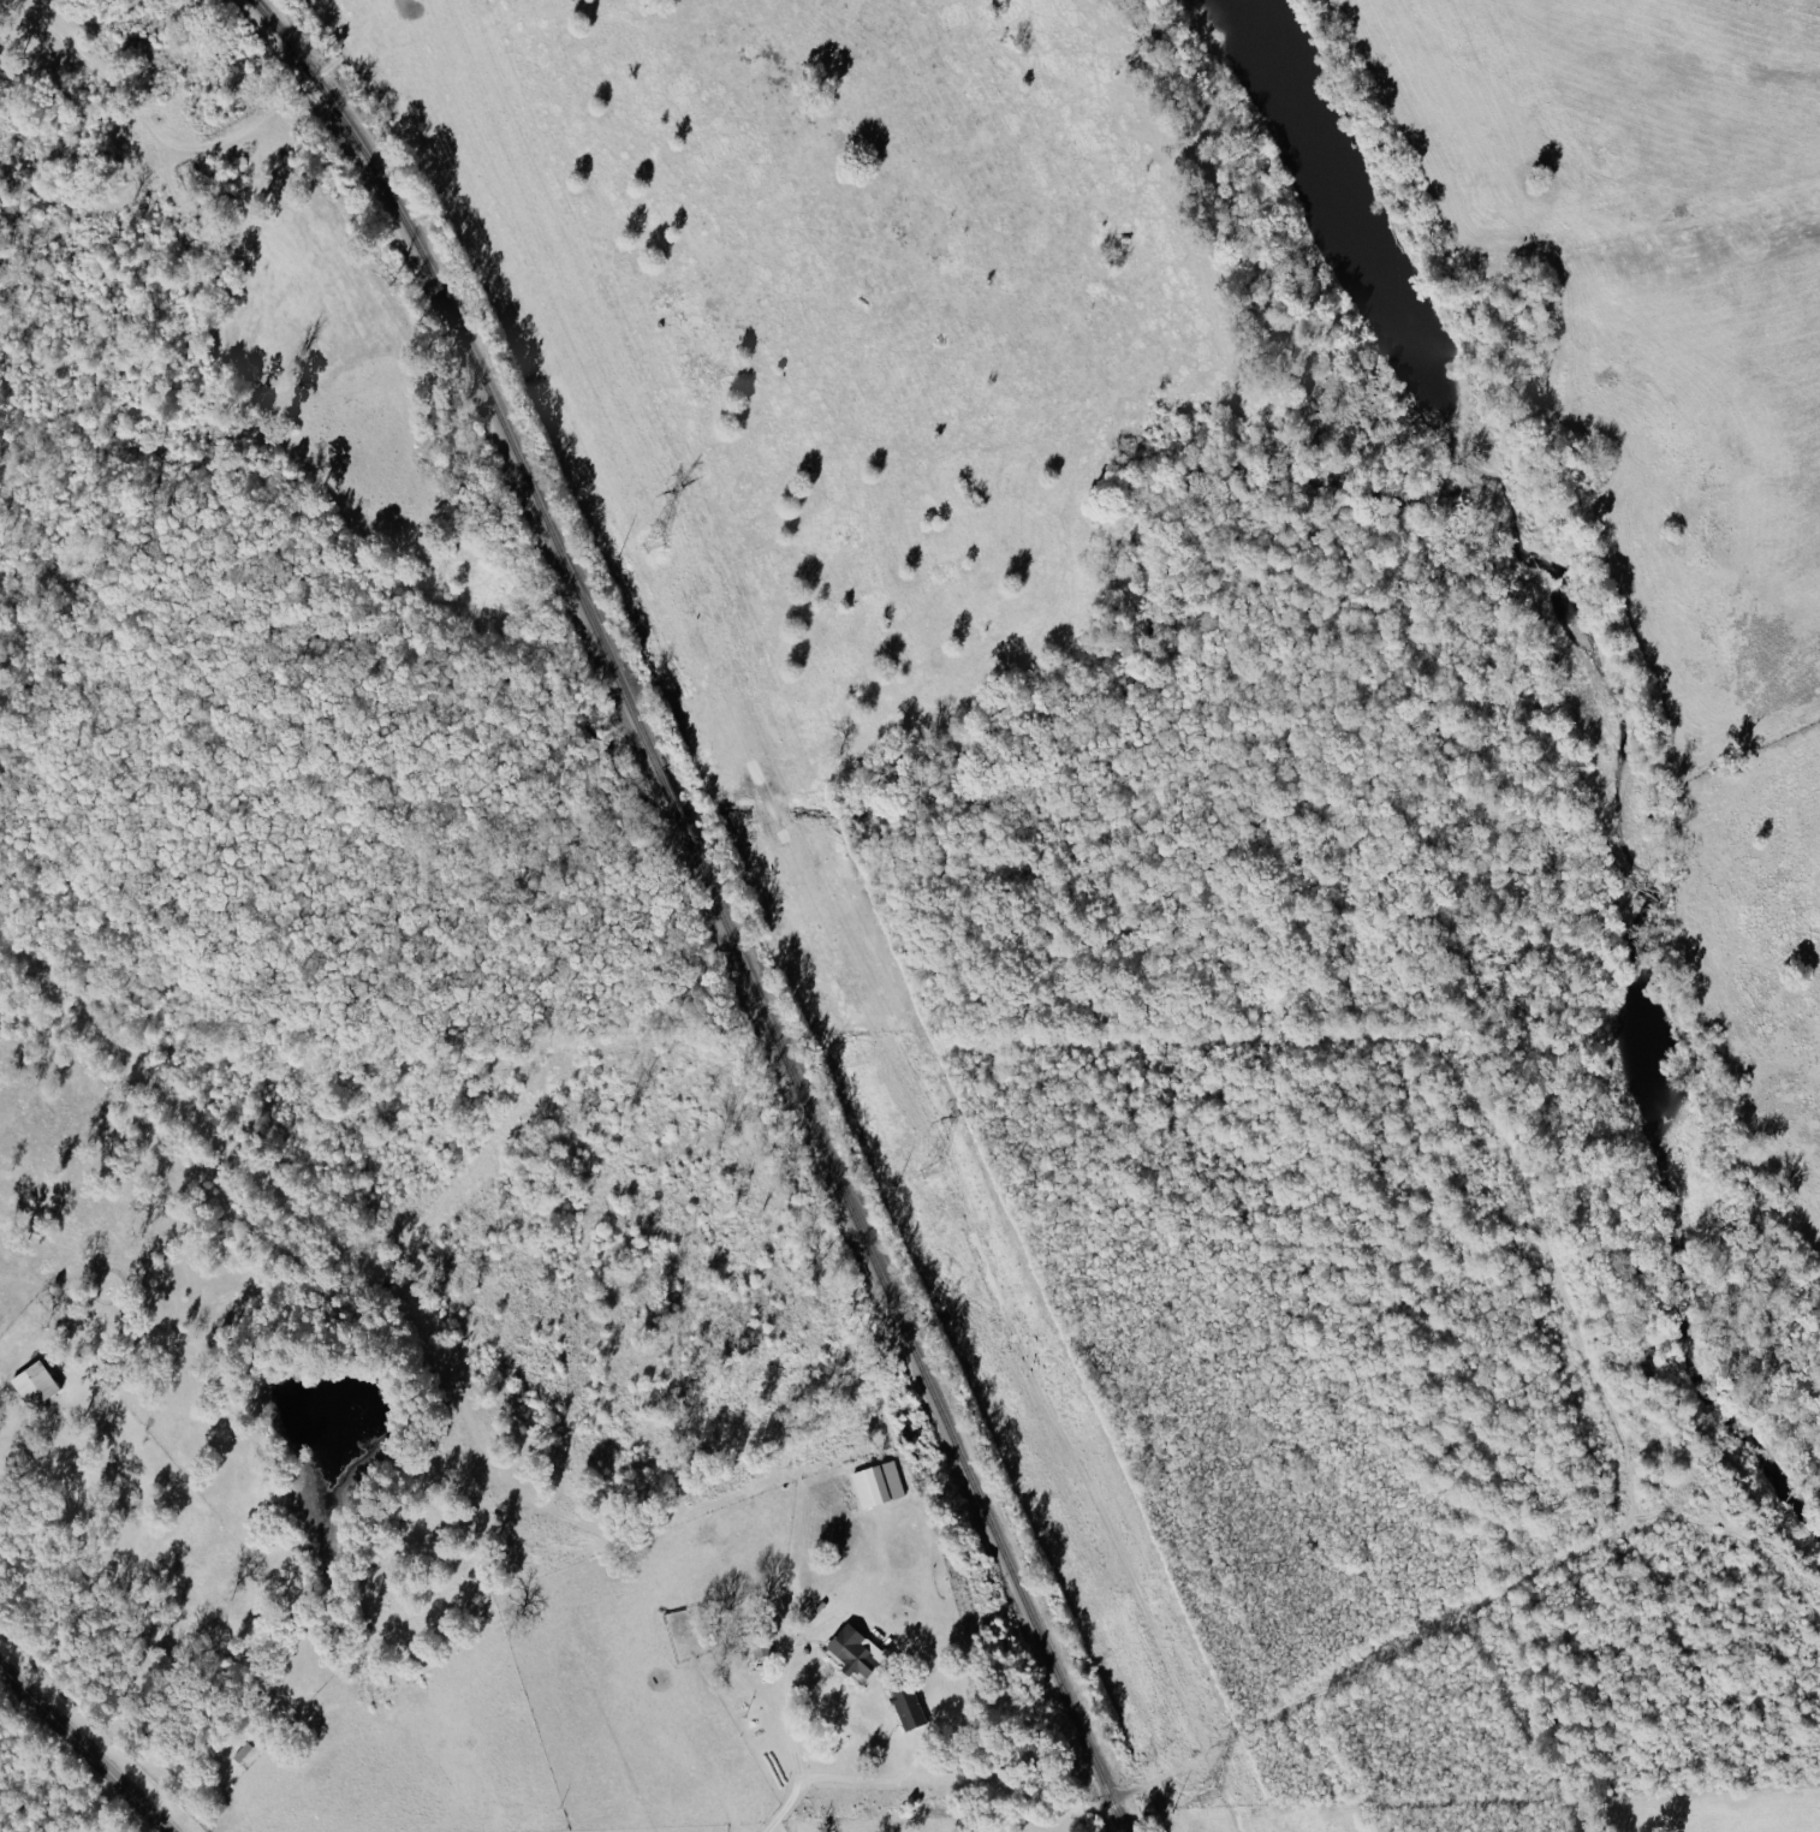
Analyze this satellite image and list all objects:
road: (309, 79)
road: (126, 96)
railway: (476, 370)
power tower: (650, 545)
river: (1599, 742)
railway: (670, 808)
power tower: (928, 1173)
railway: (906, 1337)
building: (36, 1385)
road: (23, 1427)
building: (879, 1485)
road: (780, 1691)
building: (908, 1703)
road: (82, 1751)
road: (952, 1780)
road: (1136, 1788)
power tower: (1205, 1797)
road: (780, 1807)

